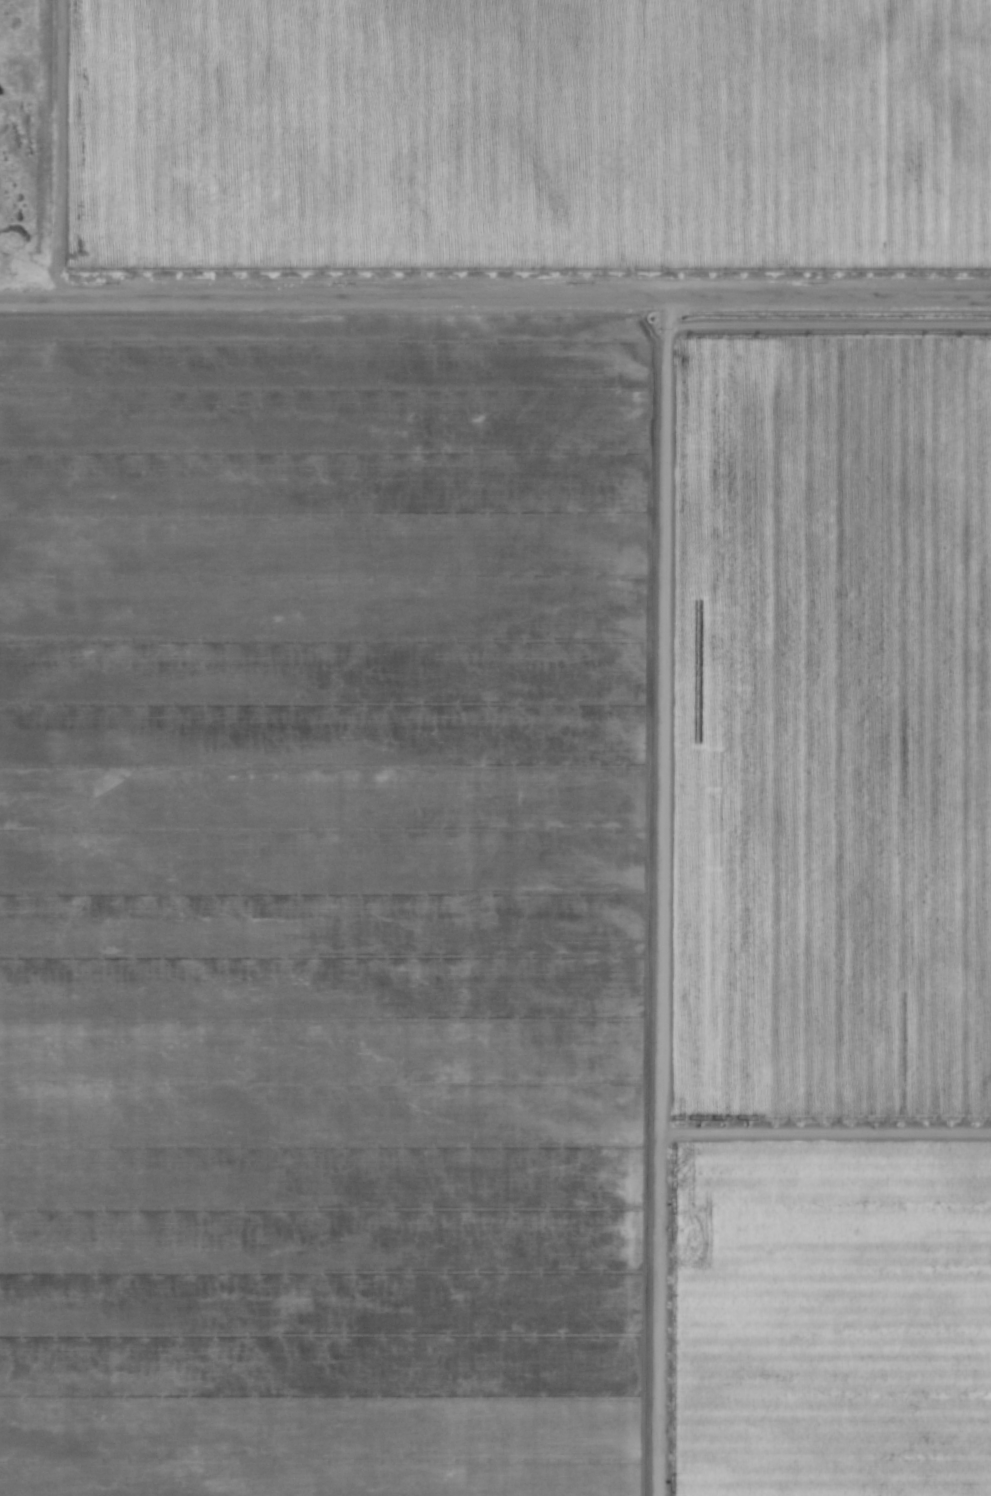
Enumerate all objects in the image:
road: (495, 302)
road: (651, 898)
road: (823, 1129)

